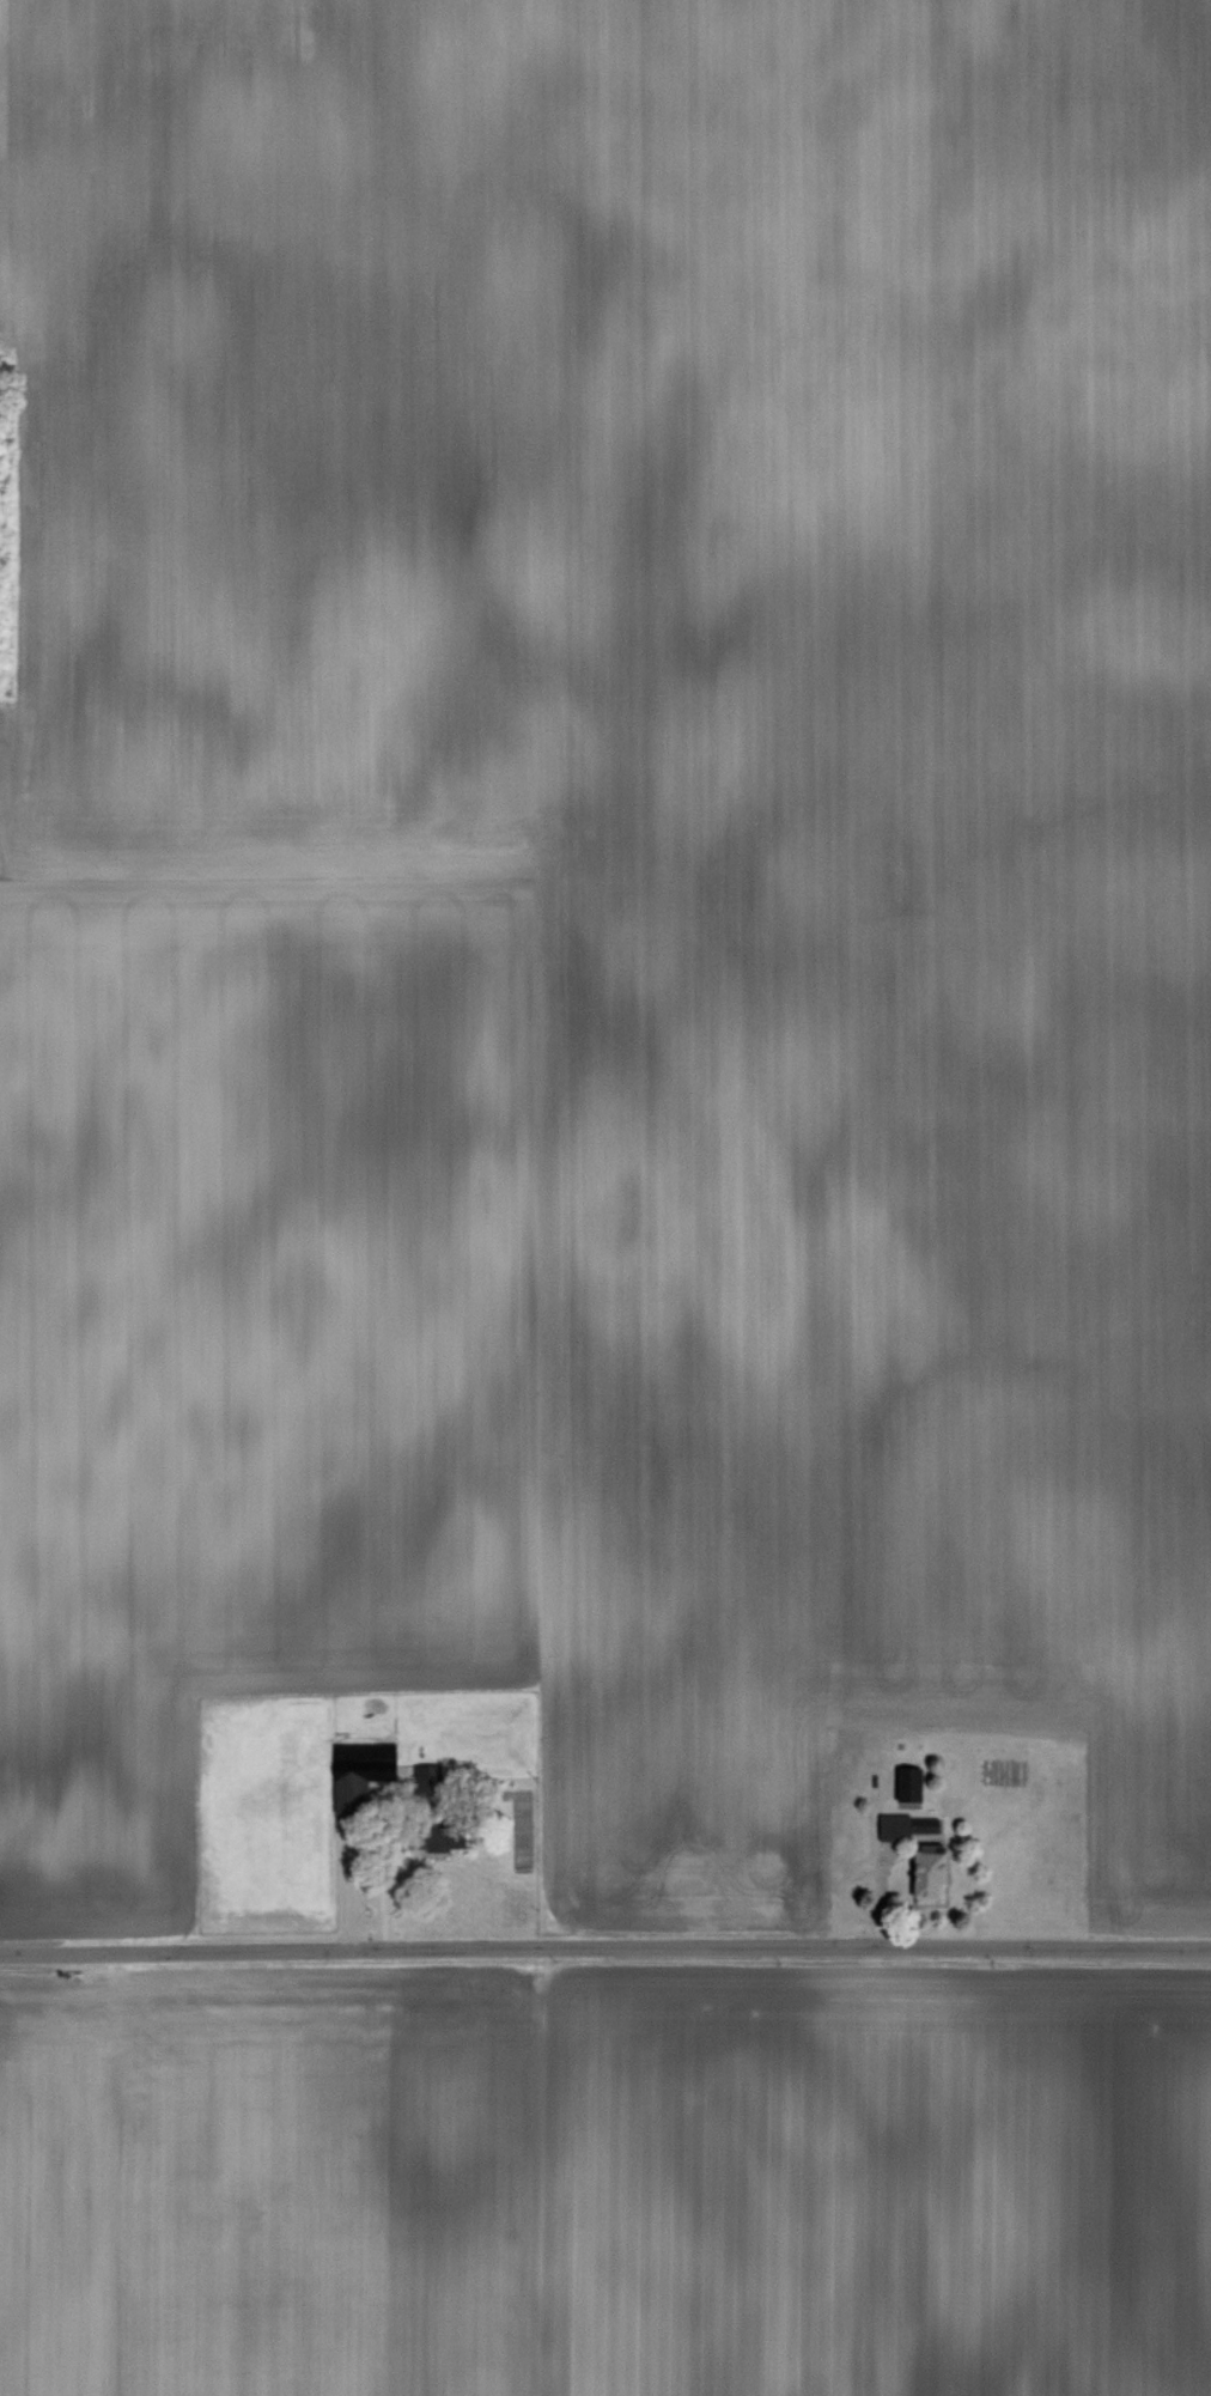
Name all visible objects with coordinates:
building: (436, 1841)
building: (918, 1857)
road: (401, 1875)
road: (604, 1946)

